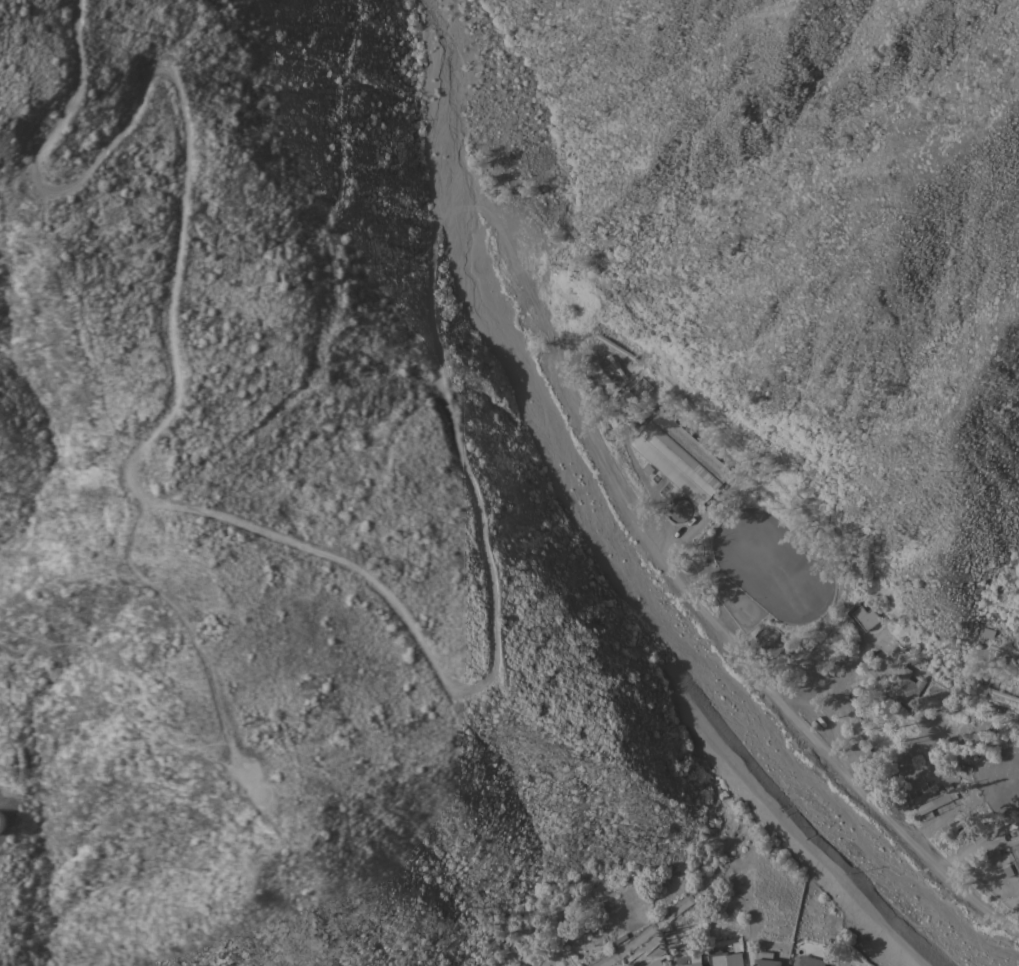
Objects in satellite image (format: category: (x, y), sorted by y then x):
park: (512, 125)
building: (580, 271)
building: (579, 326)
building: (614, 346)
building: (616, 367)
building: (640, 389)
building: (679, 457)
park: (771, 567)
road: (492, 590)
building: (866, 619)
building: (1003, 650)
building: (814, 669)
building: (905, 688)
building: (997, 692)
road: (7, 702)
building: (1016, 714)
building: (922, 717)
building: (849, 720)
building: (944, 731)
road: (235, 756)
building: (923, 797)
building: (934, 802)
building: (2, 822)
building: (957, 824)
building: (968, 832)
road: (800, 835)
road: (974, 837)
road: (676, 907)
building: (723, 958)
building: (765, 959)
building: (688, 960)
building: (810, 961)
building: (654, 963)

